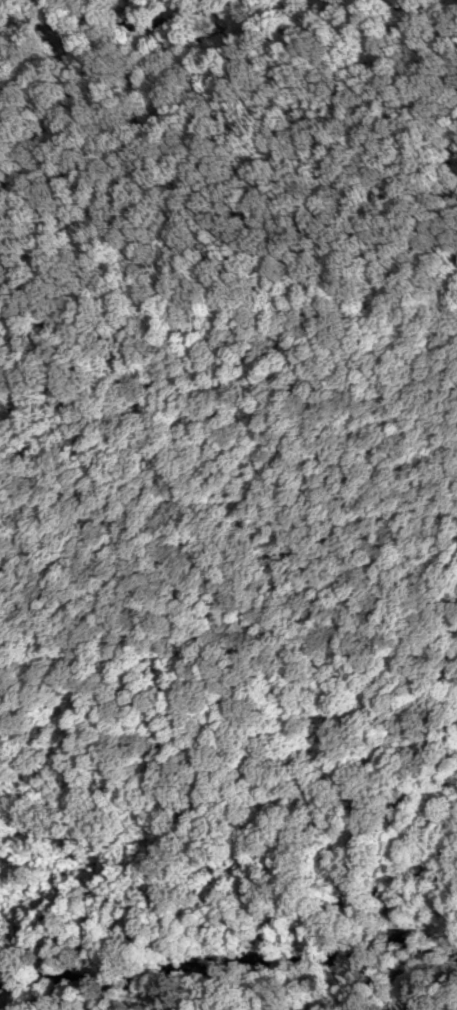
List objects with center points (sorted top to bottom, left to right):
road: (229, 786)

